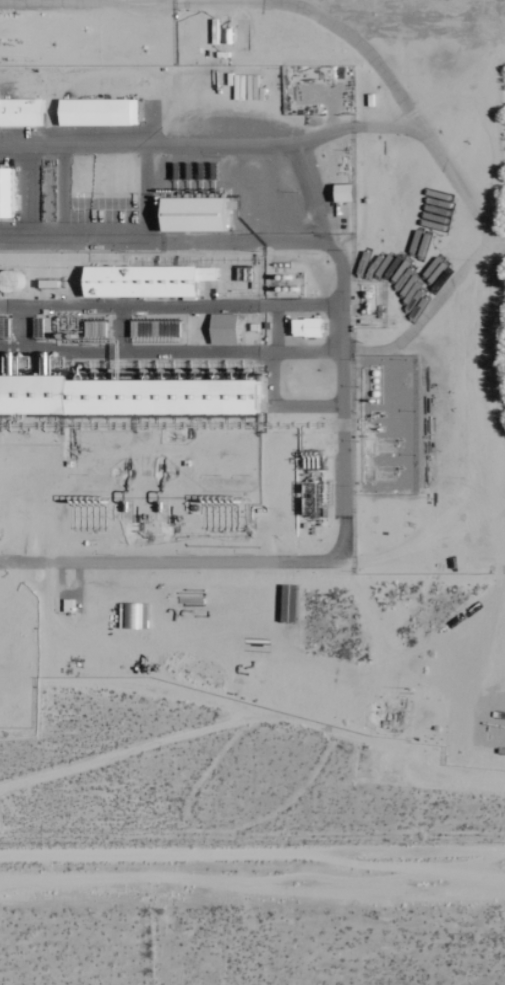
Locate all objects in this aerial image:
road: (264, 1)
building: (24, 113)
building: (102, 113)
road: (419, 131)
building: (8, 193)
building: (201, 215)
road: (164, 243)
building: (150, 282)
road: (170, 304)
road: (430, 308)
building: (311, 328)
building: (227, 330)
road: (341, 368)
building: (129, 397)
road: (252, 853)

